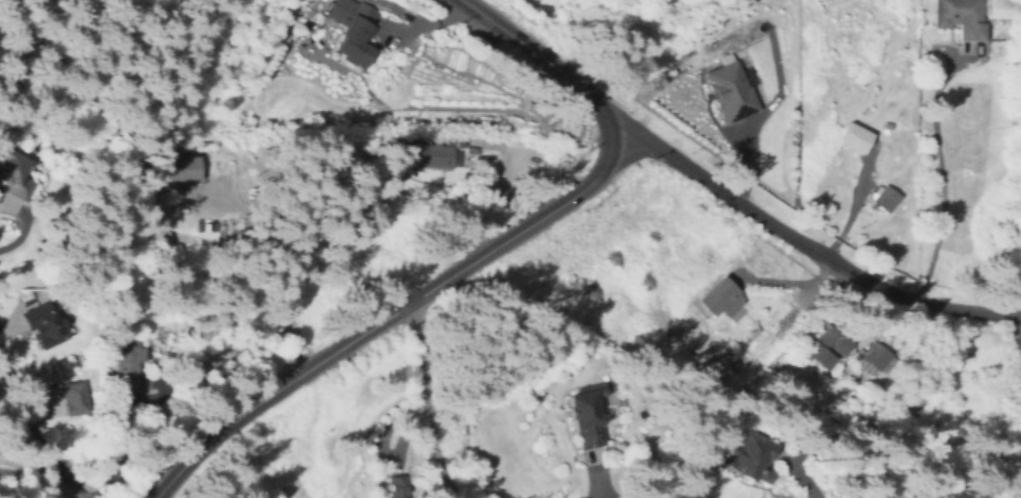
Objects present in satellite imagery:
building: (1005, 8)
building: (960, 17)
building: (352, 32)
road: (523, 44)
building: (1005, 49)
building: (729, 92)
road: (756, 118)
building: (855, 138)
road: (610, 139)
building: (457, 140)
building: (427, 152)
building: (176, 169)
building: (13, 171)
road: (941, 178)
building: (885, 199)
road: (11, 245)
road: (806, 247)
road: (274, 276)
building: (718, 297)
building: (42, 325)
road: (3, 327)
road: (361, 333)
building: (825, 345)
building: (877, 357)
building: (126, 363)
building: (73, 398)
road: (424, 400)
building: (906, 408)
building: (580, 414)
building: (741, 456)
road: (43, 481)
road: (801, 484)
road: (587, 485)
building: (397, 487)
building: (294, 490)

